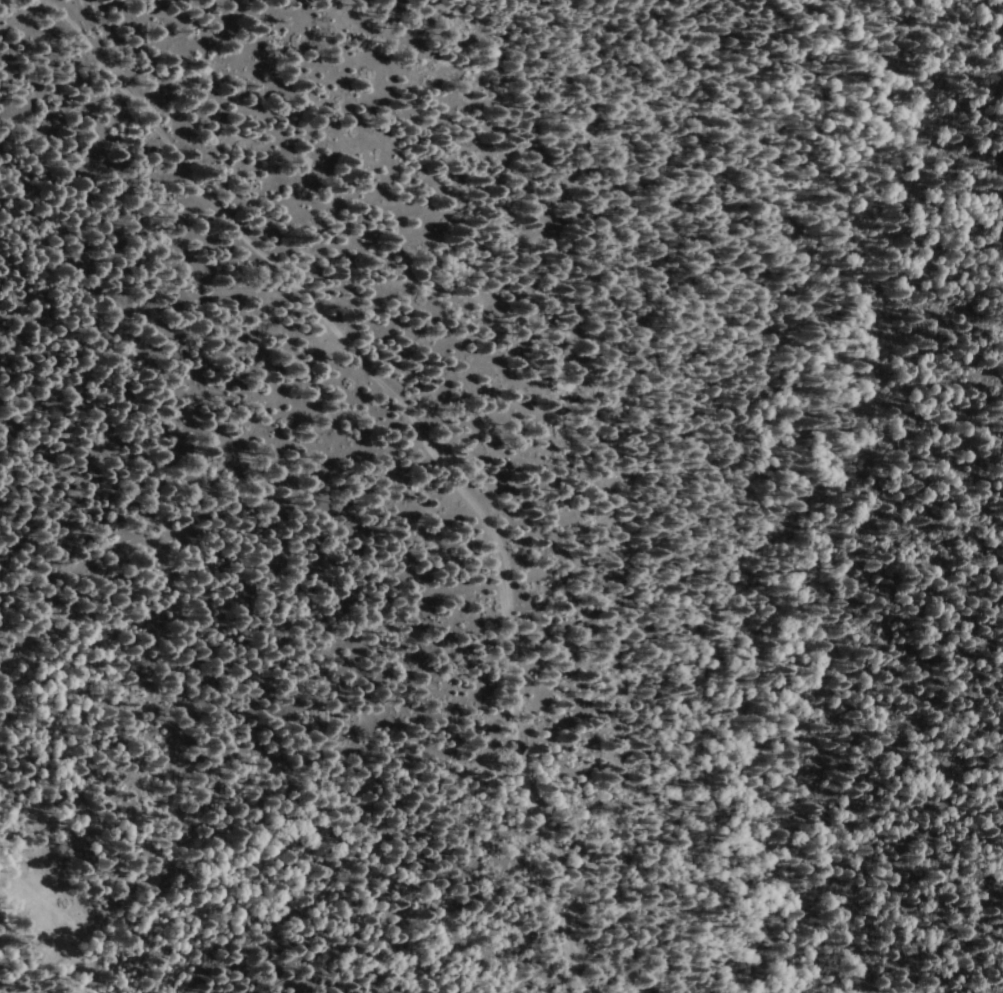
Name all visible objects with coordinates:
road: (303, 475)

